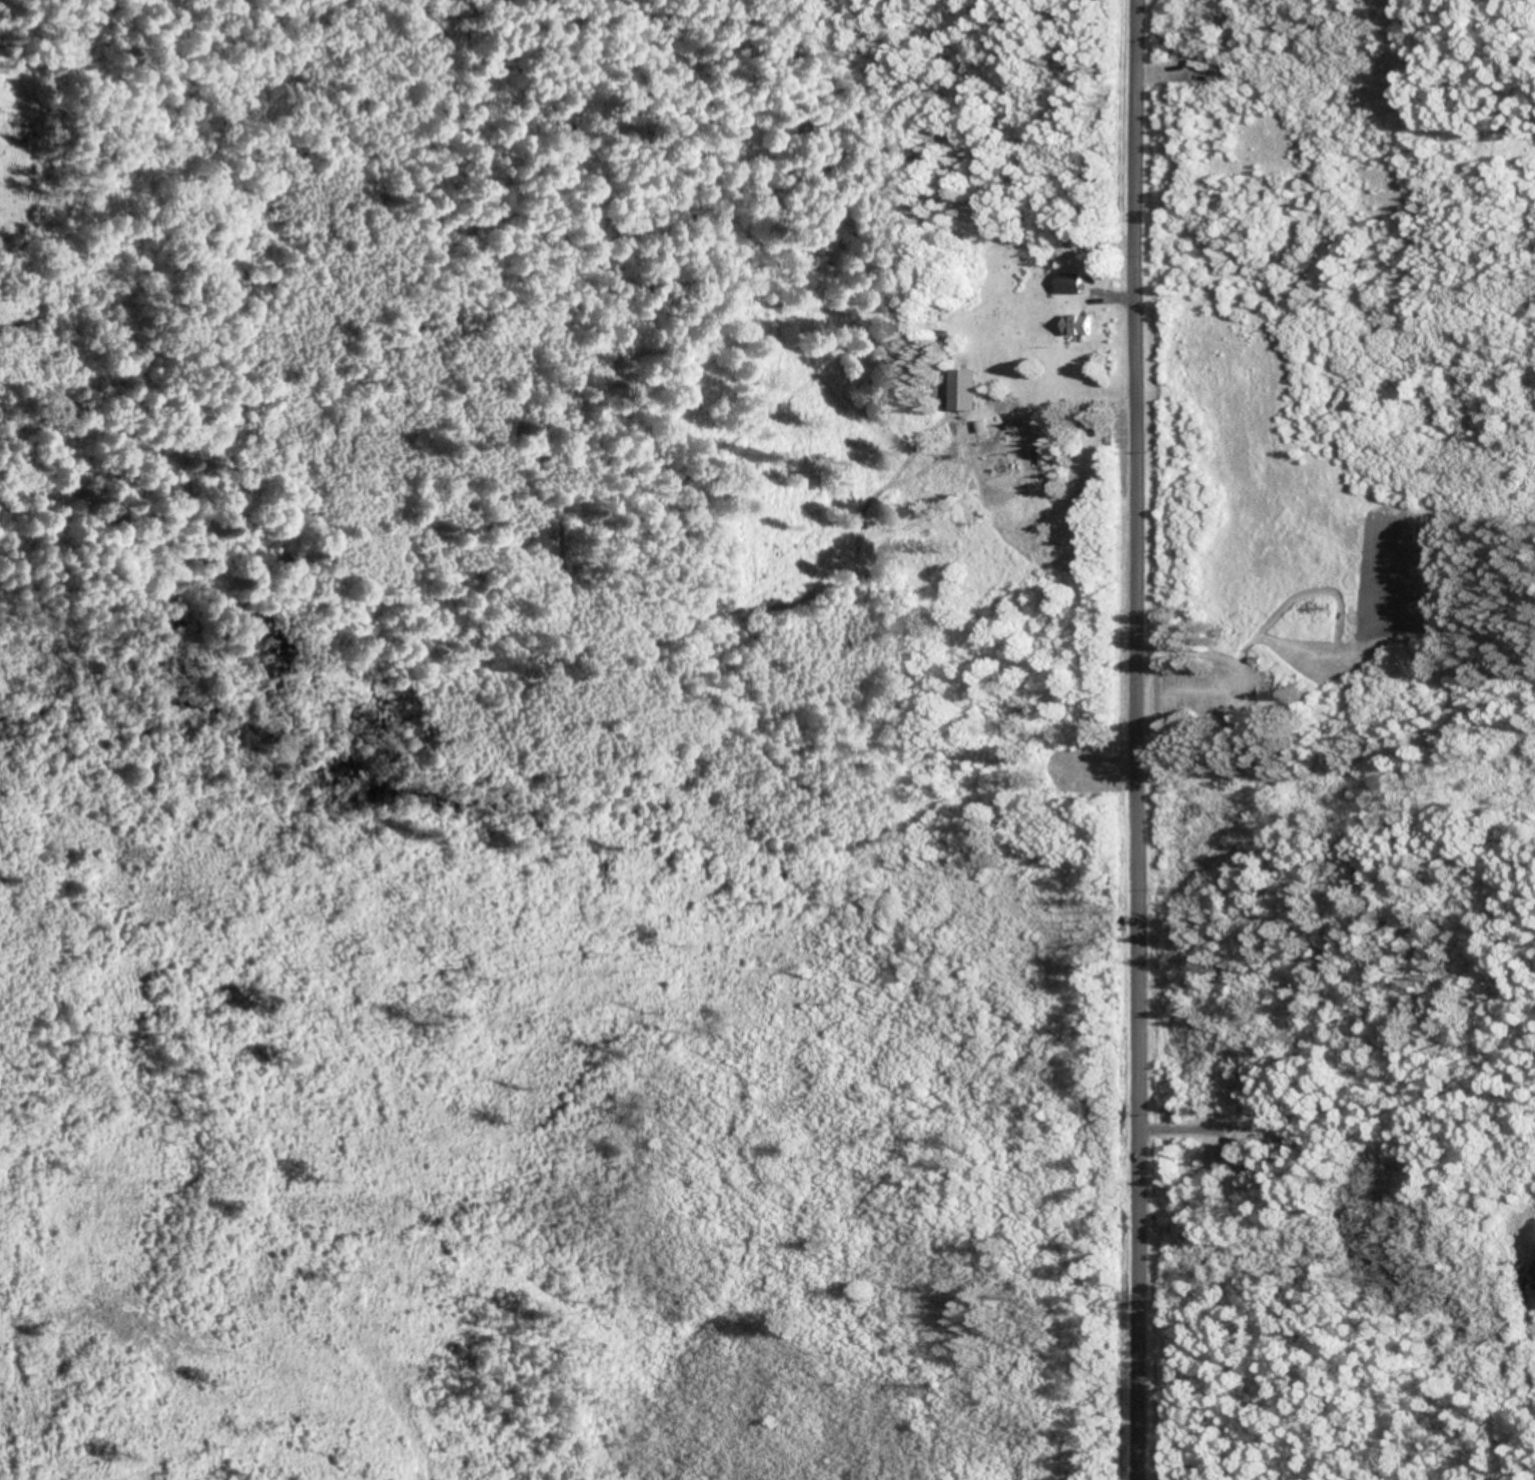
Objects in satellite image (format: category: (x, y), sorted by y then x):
building: (1076, 281)
building: (1085, 323)
building: (969, 388)
building: (1269, 684)
road: (1147, 739)
building: (1235, 1157)

